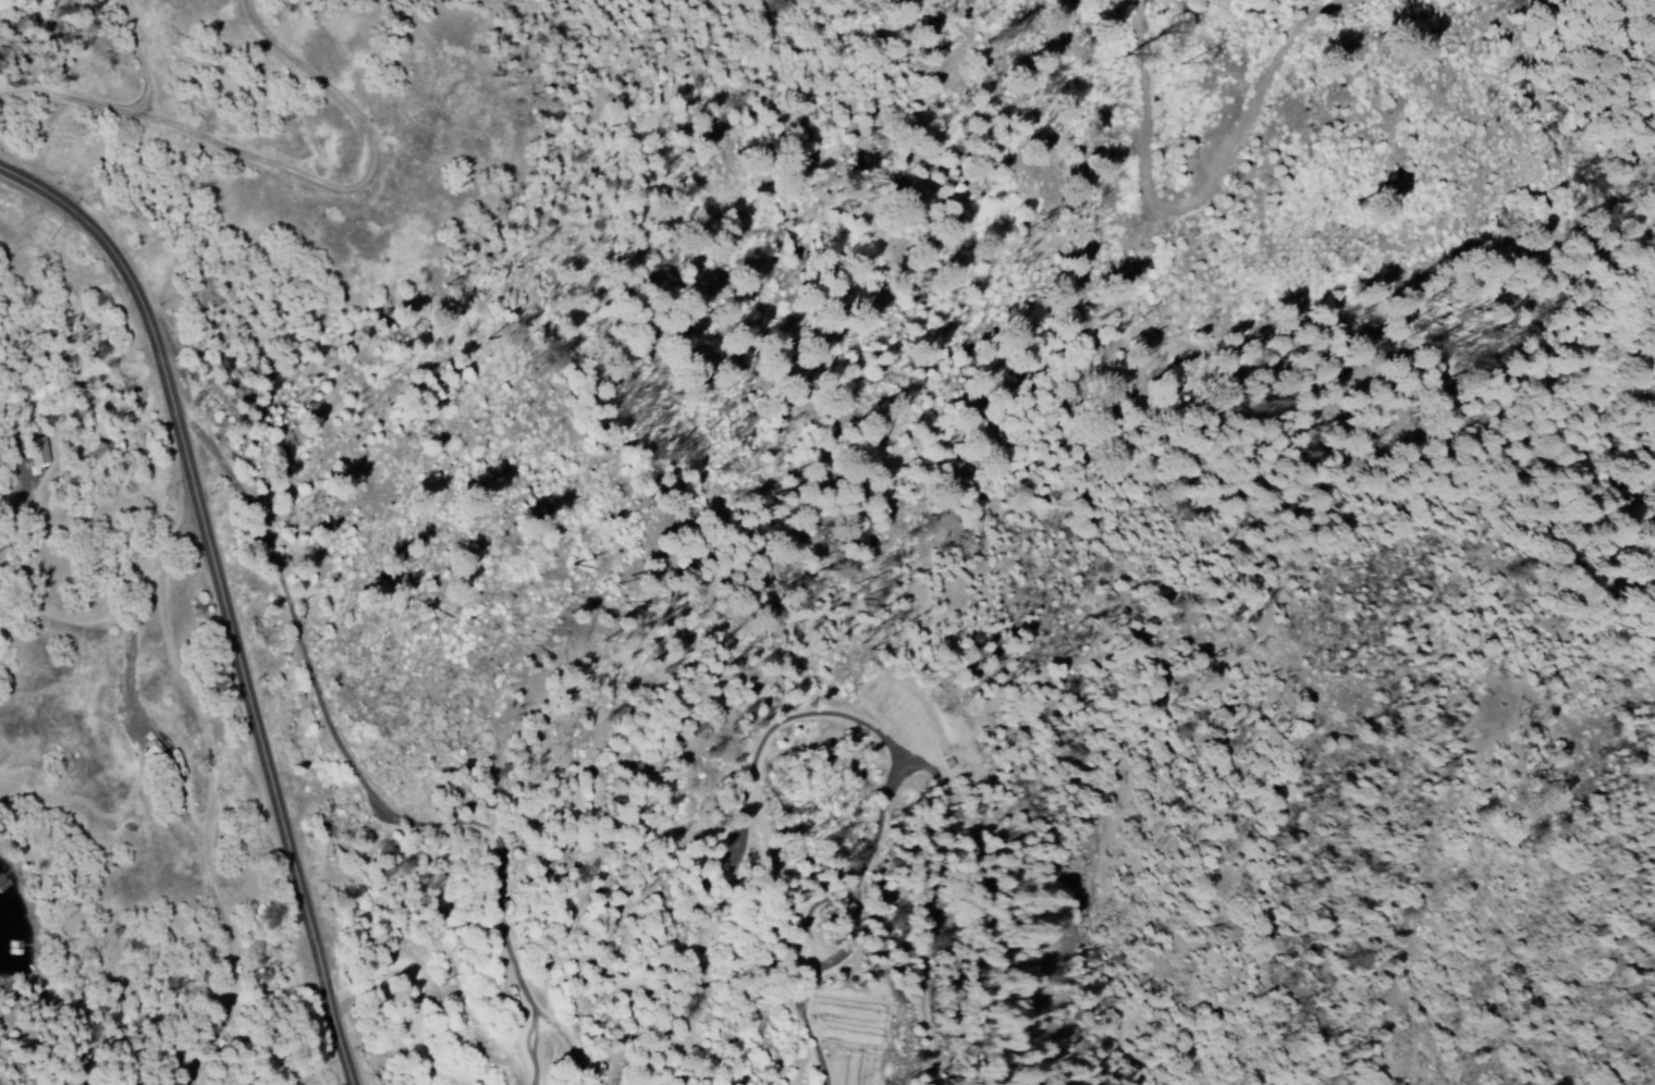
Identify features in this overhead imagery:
road: (140, 113)
road: (290, 580)
road: (205, 628)

